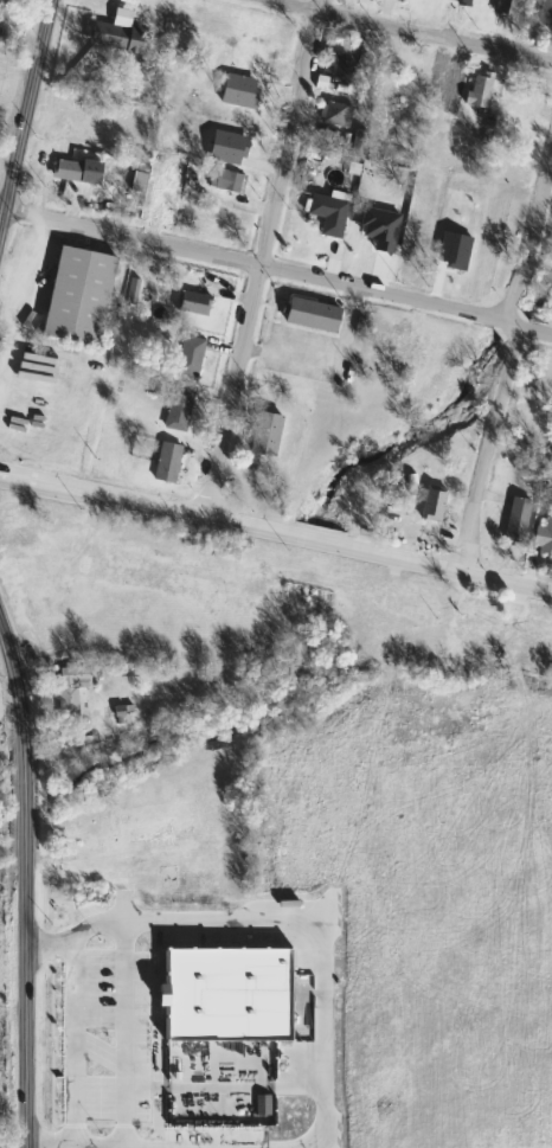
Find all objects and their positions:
building: (13, 0)
building: (460, 1)
building: (505, 7)
building: (544, 12)
road: (406, 30)
building: (116, 33)
building: (245, 33)
building: (340, 68)
building: (477, 91)
road: (24, 113)
building: (334, 114)
building: (68, 172)
building: (224, 178)
building: (327, 214)
road: (529, 233)
road: (259, 257)
road: (276, 270)
building: (77, 296)
building: (192, 303)
building: (310, 315)
building: (386, 348)
building: (188, 357)
building: (176, 409)
building: (265, 434)
building: (166, 462)
road: (476, 486)
building: (431, 502)
building: (515, 520)
road: (276, 533)
building: (543, 537)
road: (39, 563)
building: (392, 598)
building: (483, 620)
building: (527, 635)
building: (69, 685)
building: (107, 819)
building: (169, 877)
road: (25, 881)
road: (277, 921)
building: (231, 989)
road: (116, 1034)
road: (66, 1045)
road: (91, 1050)

